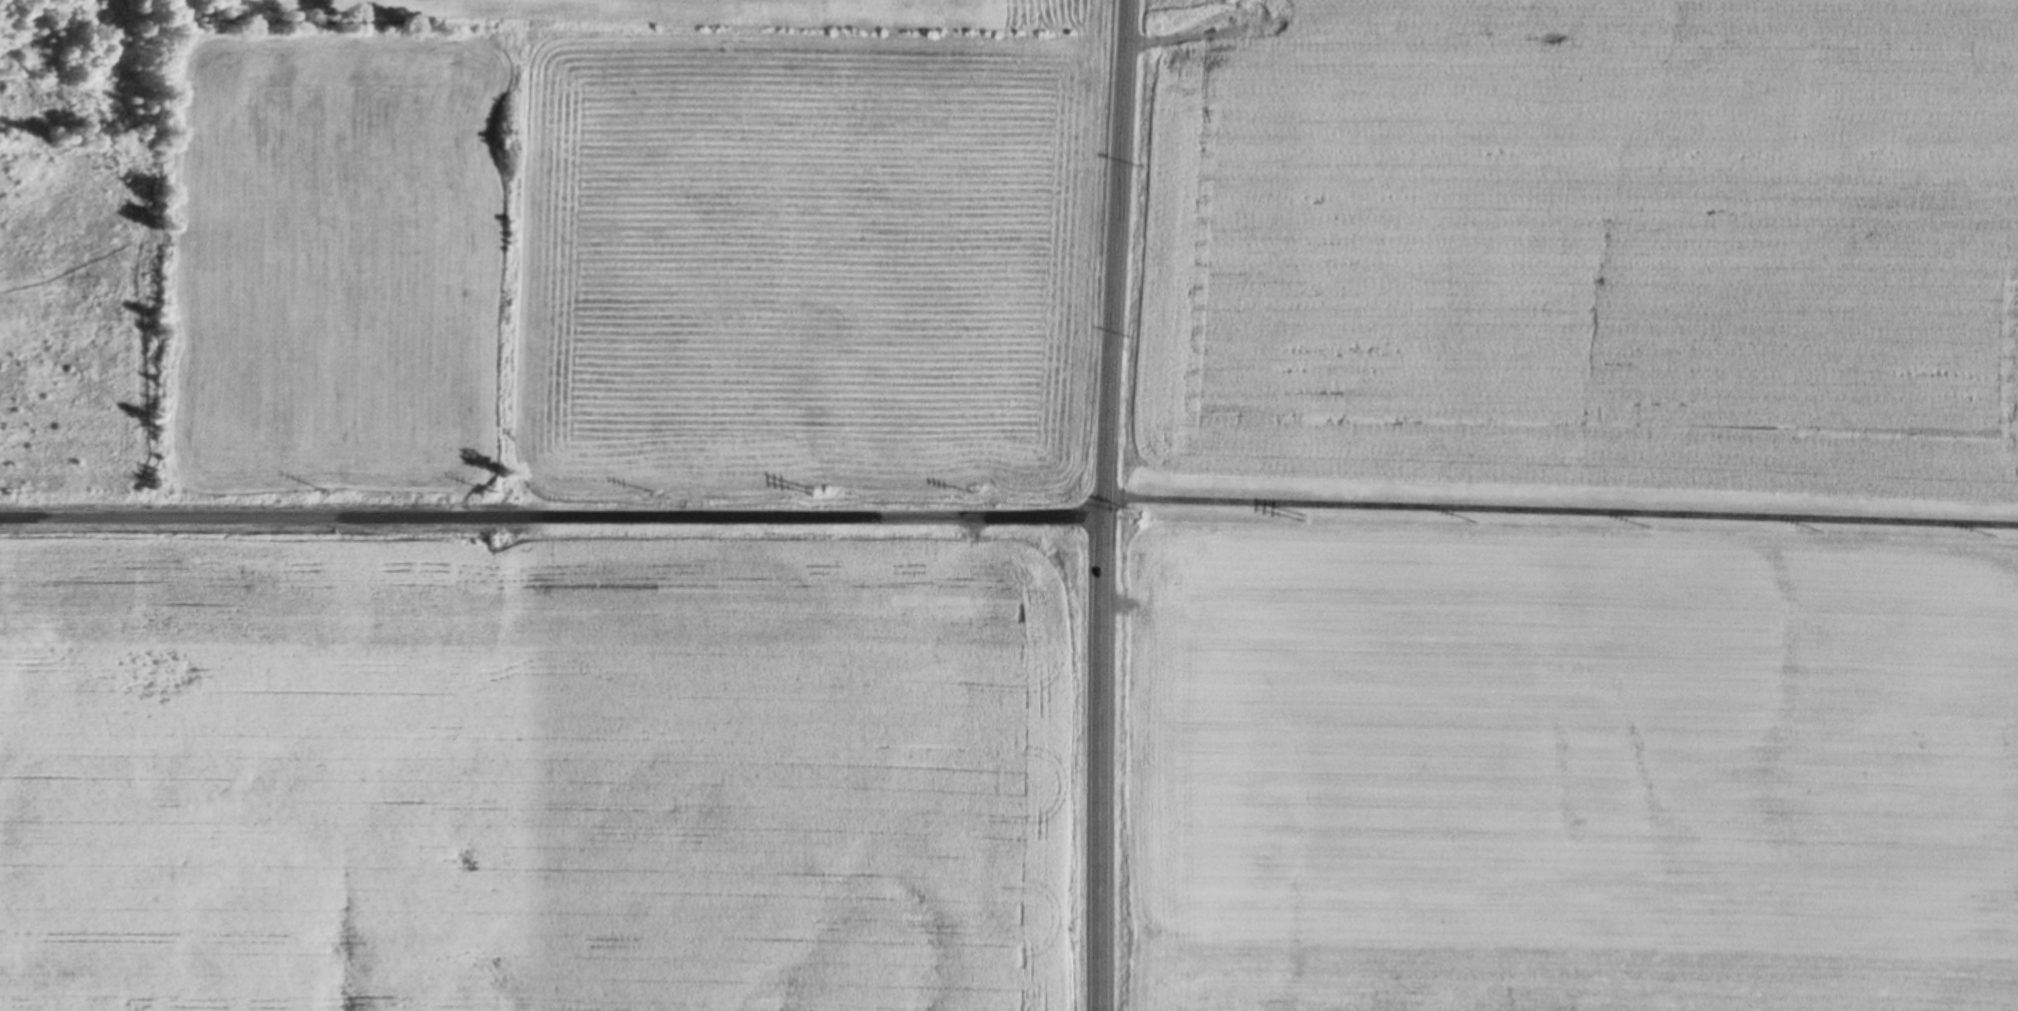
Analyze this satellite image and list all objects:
road: (1107, 505)
road: (1562, 507)
road: (553, 519)

